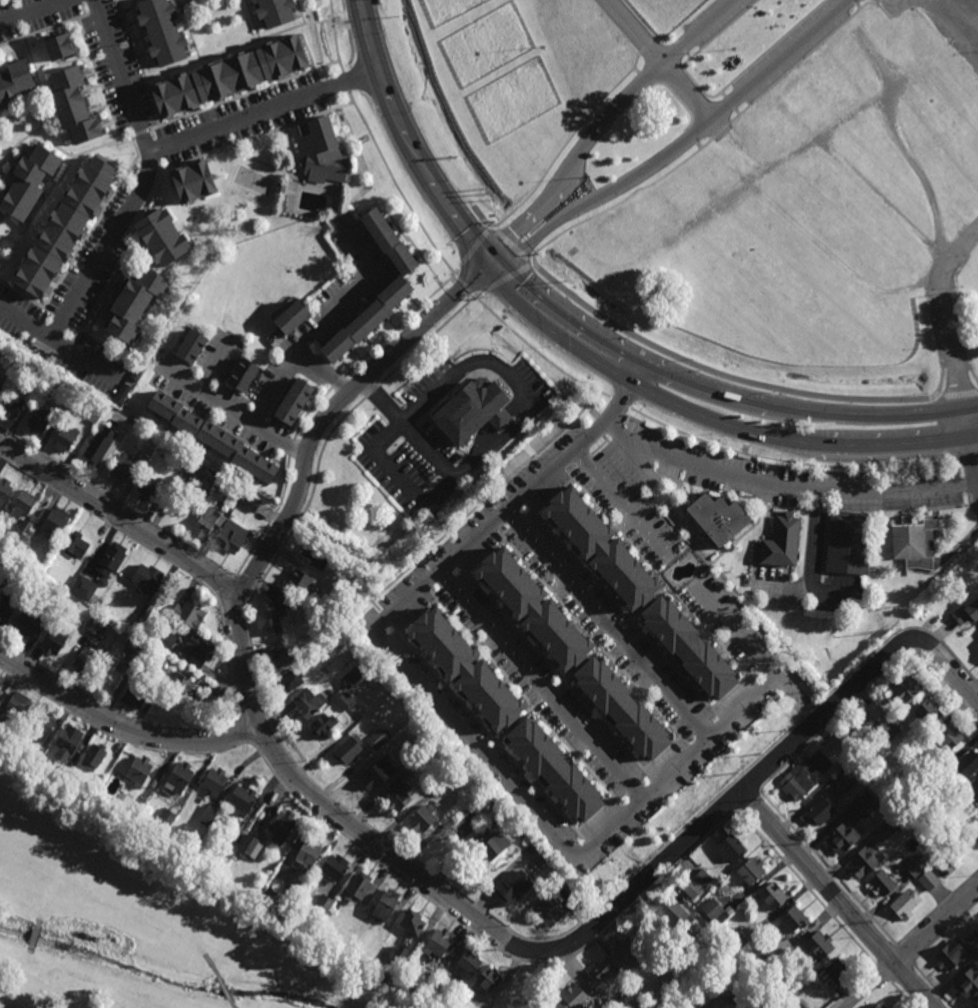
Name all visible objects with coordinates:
road: (853, 1)
road: (137, 3)
road: (186, 4)
road: (896, 4)
road: (857, 5)
road: (132, 8)
road: (300, 12)
road: (37, 13)
road: (105, 13)
building: (275, 13)
road: (252, 20)
parking lot: (956, 25)
road: (189, 30)
road: (44, 31)
building: (166, 32)
road: (949, 32)
road: (336, 37)
road: (238, 46)
building: (62, 47)
road: (657, 61)
road: (799, 61)
road: (138, 62)
road: (36, 73)
road: (124, 75)
building: (228, 76)
building: (15, 81)
road: (344, 84)
road: (715, 94)
road: (723, 94)
road: (245, 95)
road: (729, 102)
building: (77, 105)
road: (269, 111)
road: (736, 112)
road: (604, 124)
road: (720, 130)
road: (140, 134)
road: (257, 136)
road: (413, 138)
road: (40, 141)
road: (679, 141)
road: (567, 142)
road: (81, 151)
building: (318, 151)
road: (148, 166)
road: (289, 173)
building: (196, 180)
building: (32, 181)
road: (396, 186)
road: (120, 187)
road: (621, 201)
road: (482, 216)
road: (4, 220)
building: (0, 221)
building: (62, 229)
building: (379, 231)
building: (166, 237)
road: (511, 244)
road: (414, 248)
road: (472, 249)
road: (129, 253)
building: (401, 259)
traffic signals: (492, 261)
road: (91, 273)
road: (504, 280)
road: (463, 285)
building: (394, 293)
building: (138, 303)
road: (564, 315)
building: (291, 318)
building: (367, 321)
road: (399, 325)
road: (324, 327)
road: (556, 327)
road: (427, 340)
building: (336, 346)
building: (190, 347)
road: (951, 350)
road: (537, 353)
road: (88, 364)
road: (216, 364)
road: (325, 371)
road: (713, 371)
road: (637, 372)
building: (249, 380)
road: (337, 382)
road: (372, 390)
road: (950, 393)
building: (292, 402)
road: (619, 402)
building: (161, 404)
building: (12, 405)
road: (308, 411)
road: (331, 411)
building: (469, 411)
road: (234, 412)
road: (806, 413)
building: (500, 421)
building: (39, 422)
building: (184, 422)
road: (521, 422)
road: (591, 425)
road: (221, 427)
building: (640, 429)
building: (66, 436)
building: (117, 437)
building: (216, 439)
road: (604, 439)
building: (99, 444)
road: (799, 444)
road: (291, 449)
road: (598, 449)
road: (552, 461)
road: (967, 461)
road: (787, 462)
building: (253, 464)
building: (123, 468)
road: (580, 468)
building: (199, 474)
road: (399, 479)
road: (677, 484)
road: (785, 486)
road: (976, 487)
building: (148, 489)
building: (4, 491)
road: (517, 491)
road: (553, 497)
road: (670, 499)
building: (250, 502)
road: (481, 503)
building: (23, 504)
road: (118, 504)
road: (308, 504)
road: (620, 504)
road: (676, 504)
road: (785, 508)
building: (714, 515)
road: (485, 519)
road: (271, 520)
building: (56, 522)
building: (207, 522)
building: (23, 524)
road: (113, 526)
road: (521, 527)
road: (614, 530)
building: (231, 538)
road: (740, 538)
building: (912, 540)
building: (847, 541)
building: (782, 542)
building: (73, 546)
building: (600, 551)
road: (449, 553)
building: (317, 555)
road: (486, 557)
building: (111, 559)
road: (670, 559)
road: (673, 560)
building: (0, 573)
building: (8, 579)
building: (146, 580)
building: (101, 581)
road: (689, 582)
road: (246, 583)
road: (415, 583)
building: (298, 584)
road: (693, 585)
building: (81, 586)
road: (449, 587)
road: (227, 591)
building: (285, 597)
road: (733, 600)
building: (52, 603)
building: (100, 604)
building: (147, 604)
road: (231, 607)
road: (643, 607)
building: (6, 608)
road: (623, 610)
building: (532, 611)
building: (966, 613)
building: (189, 616)
road: (415, 618)
road: (385, 619)
building: (269, 621)
building: (136, 622)
building: (96, 623)
road: (608, 625)
building: (27, 626)
road: (615, 633)
road: (894, 634)
road: (711, 635)
road: (591, 637)
building: (55, 638)
building: (164, 639)
building: (135, 643)
building: (977, 648)
building: (689, 650)
building: (197, 651)
road: (755, 656)
building: (278, 658)
building: (155, 659)
building: (307, 659)
building: (84, 661)
road: (230, 664)
road: (582, 664)
building: (142, 667)
road: (754, 669)
road: (945, 669)
building: (464, 671)
road: (556, 672)
building: (109, 674)
building: (351, 676)
building: (135, 677)
road: (786, 682)
building: (291, 683)
road: (542, 684)
building: (0, 685)
building: (181, 686)
road: (872, 686)
road: (759, 687)
building: (0, 688)
building: (906, 688)
road: (729, 692)
road: (548, 694)
building: (135, 696)
building: (343, 700)
road: (522, 700)
building: (308, 703)
road: (109, 707)
building: (874, 708)
building: (14, 709)
building: (180, 710)
road: (445, 710)
building: (621, 710)
building: (928, 713)
road: (807, 714)
building: (866, 717)
road: (257, 720)
road: (518, 720)
road: (721, 722)
road: (694, 723)
building: (323, 725)
building: (40, 727)
road: (122, 727)
building: (888, 732)
road: (488, 733)
road: (115, 736)
building: (378, 737)
building: (949, 739)
building: (68, 742)
road: (489, 747)
road: (691, 748)
building: (918, 750)
building: (346, 752)
road: (662, 753)
building: (33, 755)
building: (816, 757)
building: (92, 758)
building: (419, 761)
building: (967, 766)
building: (808, 767)
building: (410, 768)
building: (554, 770)
building: (139, 771)
building: (62, 773)
building: (376, 775)
building: (179, 778)
building: (445, 779)
building: (844, 779)
road: (752, 780)
building: (934, 780)
building: (214, 782)
road: (655, 782)
road: (629, 783)
building: (796, 784)
building: (977, 787)
building: (92, 788)
building: (436, 789)
road: (744, 789)
road: (749, 798)
road: (731, 799)
building: (242, 800)
building: (398, 800)
building: (864, 804)
road: (625, 809)
building: (818, 813)
road: (595, 814)
building: (206, 815)
building: (166, 818)
building: (897, 818)
building: (130, 819)
building: (422, 819)
building: (467, 823)
building: (158, 827)
building: (281, 827)
building: (235, 835)
road: (569, 837)
building: (976, 837)
building: (842, 838)
road: (587, 844)
building: (251, 846)
building: (493, 846)
building: (731, 850)
building: (186, 852)
building: (307, 857)
building: (863, 862)
building: (913, 866)
building: (943, 866)
road: (827, 867)
building: (333, 868)
building: (750, 871)
building: (927, 880)
building: (697, 884)
building: (881, 884)
building: (522, 886)
building: (357, 888)
road: (807, 888)
building: (772, 895)
road: (837, 900)
building: (905, 904)
building: (385, 905)
building: (335, 907)
road: (937, 907)
building: (321, 908)
building: (715, 911)
building: (548, 912)
road: (485, 913)
building: (673, 914)
park: (142, 918)
building: (794, 919)
building: (411, 924)
road: (945, 932)
building: (733, 940)
building: (971, 942)
road: (486, 943)
building: (437, 944)
building: (818, 946)
road: (913, 948)
road: (905, 953)
building: (629, 954)
building: (399, 955)
road: (885, 955)
building: (950, 956)
building: (744, 958)
building: (757, 962)
building: (469, 963)
road: (212, 965)
building: (683, 969)
building: (601, 971)
road: (901, 972)
building: (837, 973)
road: (883, 974)
building: (434, 976)
building: (771, 980)
building: (487, 981)
building: (967, 983)
building: (427, 985)
road: (932, 985)
road: (225, 988)
road: (902, 995)
building: (572, 998)
building: (637, 1002)
building: (788, 1003)
road: (233, 1004)
building: (797, 1005)
building: (880, 1006)
building: (976, 1006)

